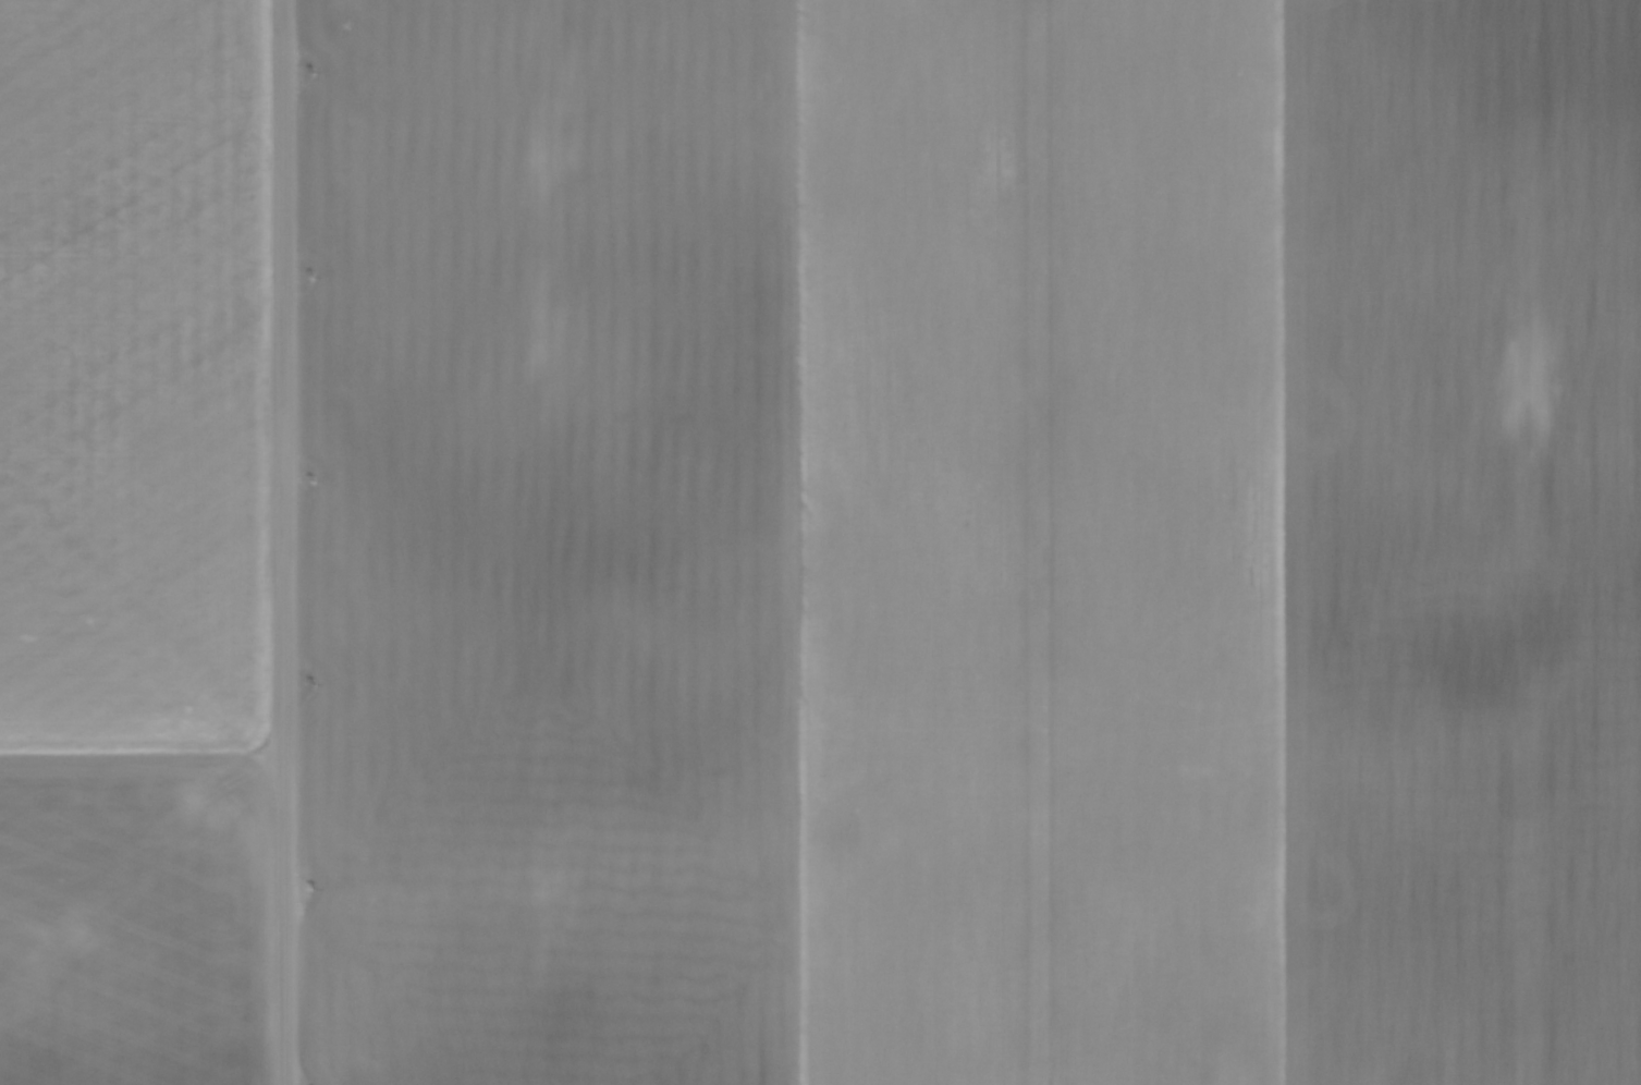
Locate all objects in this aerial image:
crop: (971, 541)
crop: (136, 542)
road: (287, 542)

